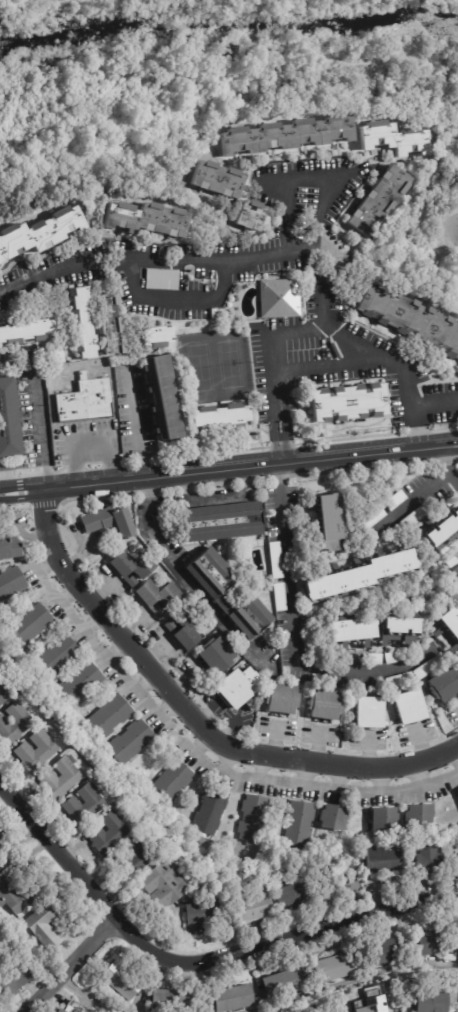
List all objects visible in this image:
road: (397, 56)
park: (223, 92)
building: (286, 135)
building: (391, 138)
road: (308, 177)
building: (218, 179)
building: (379, 198)
building: (251, 216)
building: (144, 218)
building: (40, 232)
road: (283, 254)
building: (159, 280)
building: (280, 295)
road: (179, 298)
building: (215, 314)
building: (408, 321)
building: (79, 324)
building: (105, 328)
building: (23, 333)
building: (156, 335)
building: (53, 357)
park: (230, 363)
park: (200, 367)
road: (329, 367)
road: (273, 369)
building: (163, 394)
building: (85, 402)
building: (347, 403)
road: (435, 403)
road: (37, 409)
building: (218, 417)
building: (8, 421)
road: (135, 424)
road: (446, 466)
road: (229, 468)
road: (193, 501)
building: (391, 501)
road: (410, 502)
building: (412, 516)
building: (369, 519)
building: (221, 522)
building: (108, 523)
building: (322, 523)
building: (443, 533)
building: (8, 544)
building: (274, 561)
building: (133, 568)
building: (453, 571)
building: (358, 577)
building: (11, 580)
road: (187, 583)
building: (225, 593)
building: (157, 597)
building: (278, 598)
building: (28, 625)
building: (183, 627)
building: (399, 629)
building: (353, 632)
building: (445, 632)
road: (292, 633)
building: (211, 656)
building: (56, 658)
building: (388, 658)
building: (457, 659)
building: (374, 660)
building: (428, 665)
building: (401, 677)
building: (80, 684)
building: (444, 685)
building: (234, 687)
building: (2, 696)
building: (280, 700)
building: (323, 706)
building: (410, 708)
building: (369, 714)
building: (109, 717)
road: (190, 721)
building: (12, 723)
building: (130, 743)
building: (33, 752)
building: (58, 778)
building: (171, 783)
building: (81, 806)
building: (210, 811)
building: (420, 817)
building: (333, 818)
building: (253, 819)
building: (387, 820)
building: (300, 825)
building: (104, 834)
building: (1, 835)
building: (201, 841)
building: (131, 861)
building: (381, 862)
building: (424, 864)
building: (0, 869)
building: (159, 888)
building: (331, 890)
building: (21, 894)
building: (291, 897)
building: (250, 910)
building: (200, 917)
building: (44, 924)
building: (427, 946)
building: (374, 956)
road: (197, 963)
road: (72, 966)
building: (330, 970)
building: (13, 983)
building: (118, 983)
building: (281, 987)
road: (77, 992)
building: (233, 1000)
building: (373, 1001)
building: (167, 1002)
building: (432, 1002)
building: (71, 1007)
building: (56, 1011)

